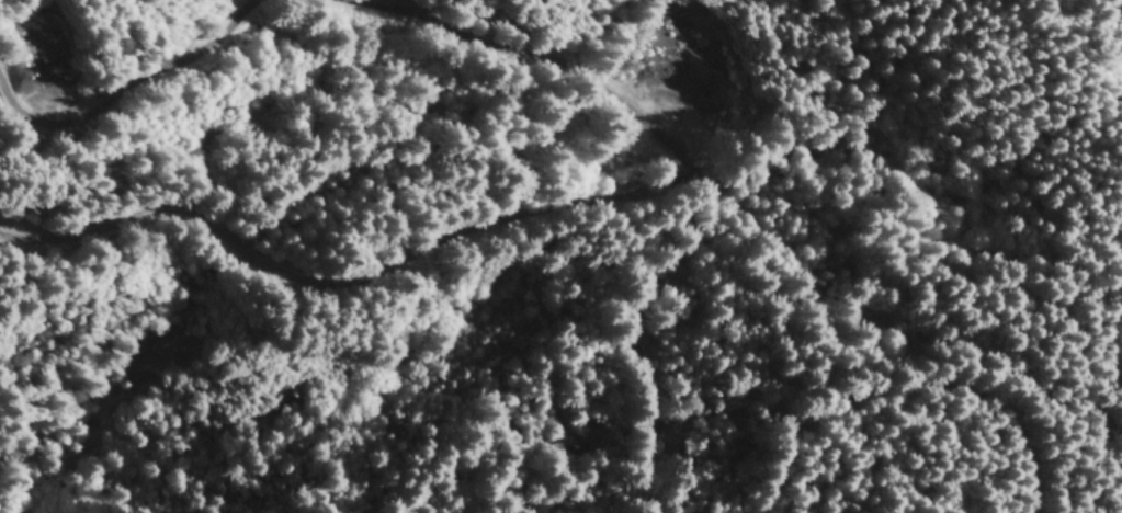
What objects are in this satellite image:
road: (377, 187)
road: (699, 241)

